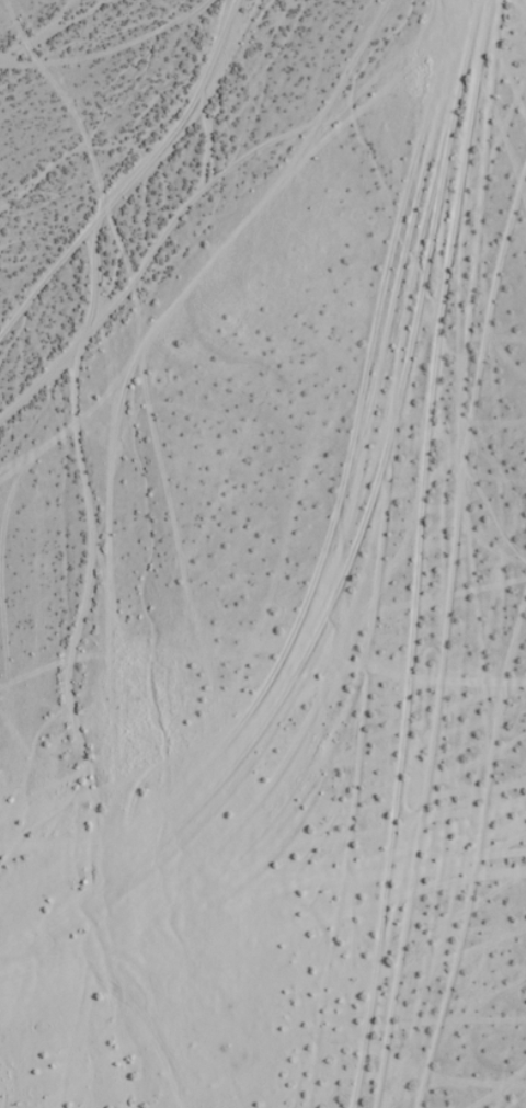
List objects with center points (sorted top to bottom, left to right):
road: (419, 555)

